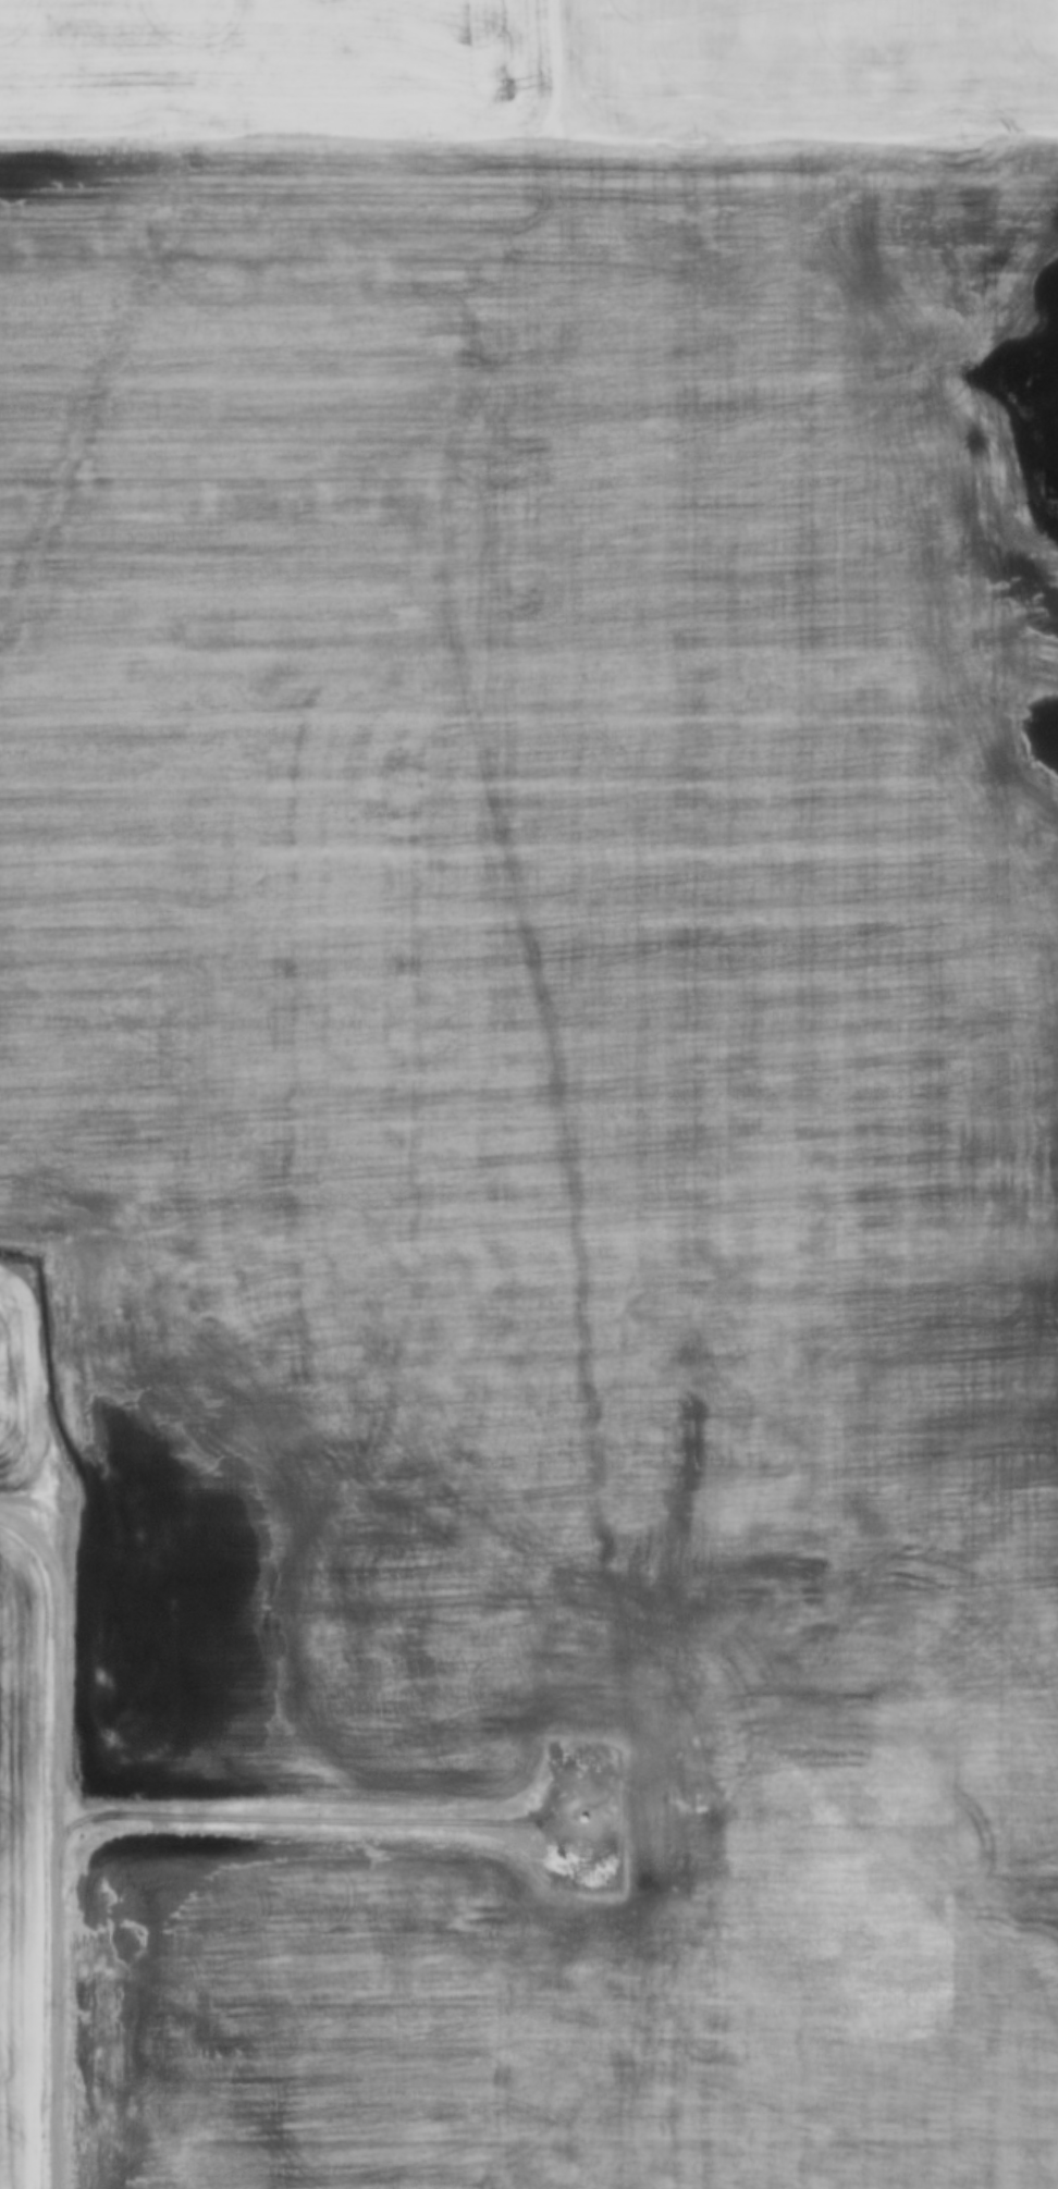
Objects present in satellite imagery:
road: (63, 1385)
road: (308, 1808)
road: (58, 1884)

